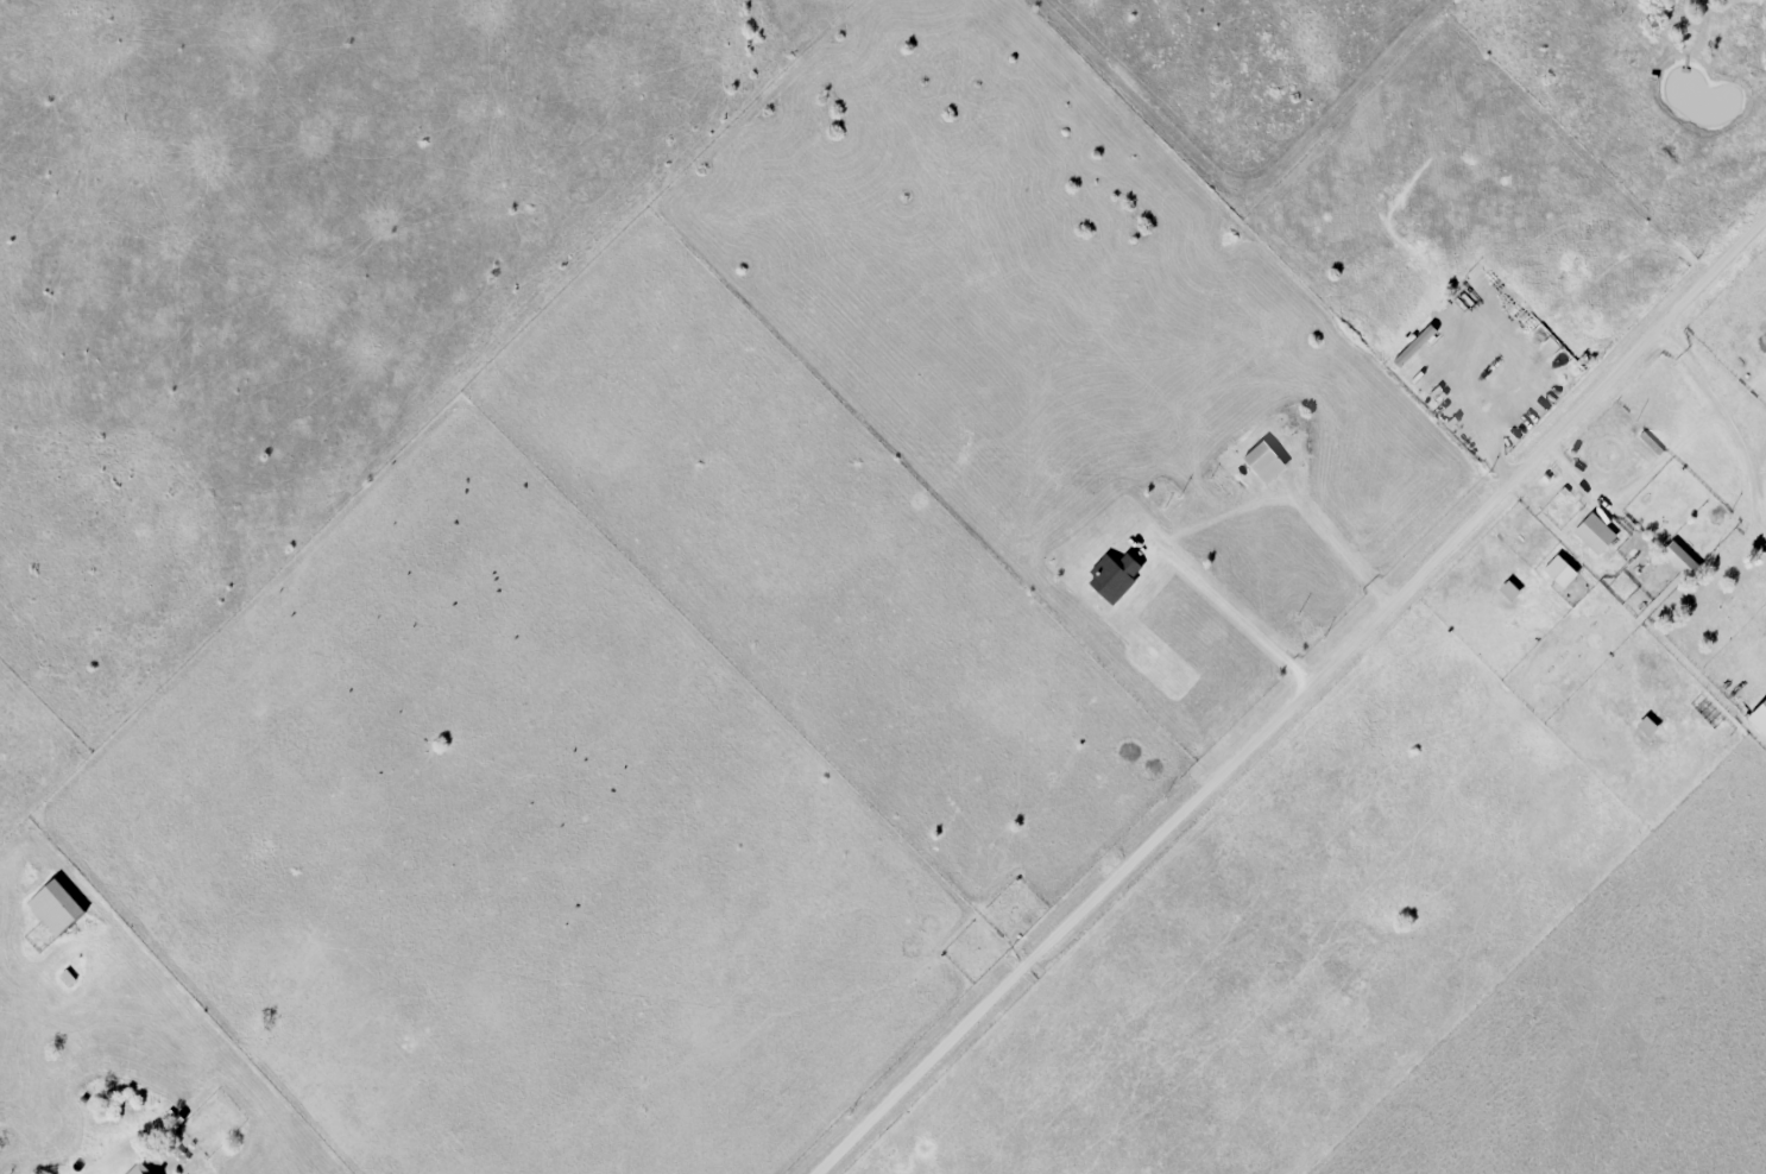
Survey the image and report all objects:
road: (1728, 424)
building: (1261, 463)
building: (1592, 534)
building: (1678, 561)
building: (1557, 573)
building: (1111, 579)
building: (1506, 592)
road: (1300, 701)
building: (1758, 719)
building: (1644, 727)
building: (61, 908)

